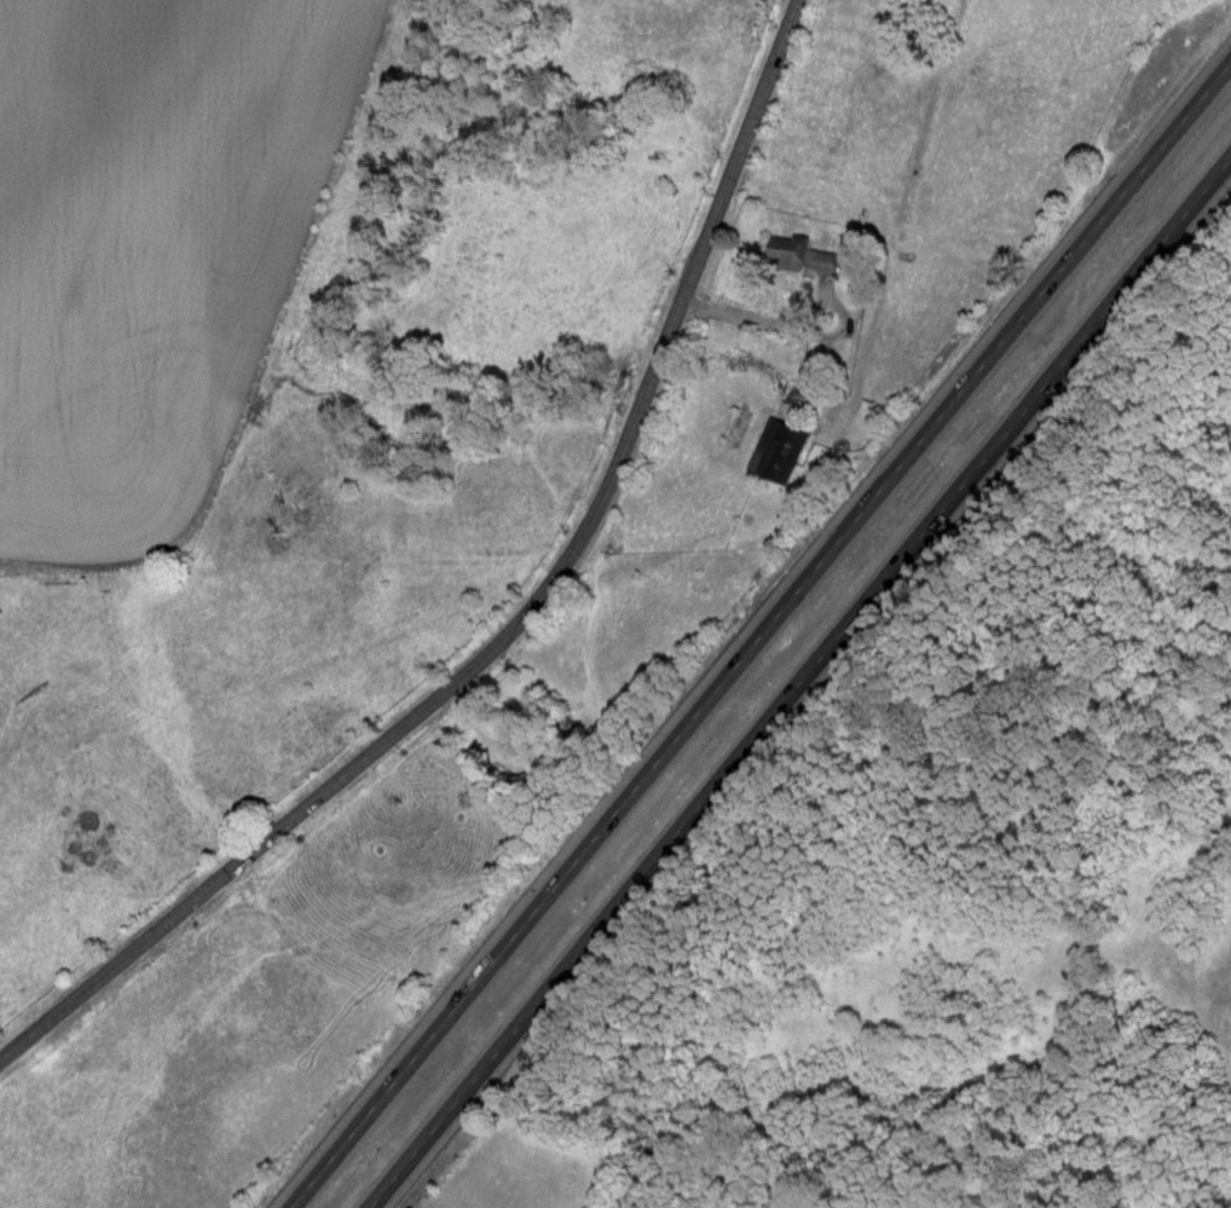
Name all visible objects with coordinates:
building: (799, 254)
road: (794, 323)
building: (778, 450)
road: (516, 617)
road: (759, 634)
road: (798, 681)

